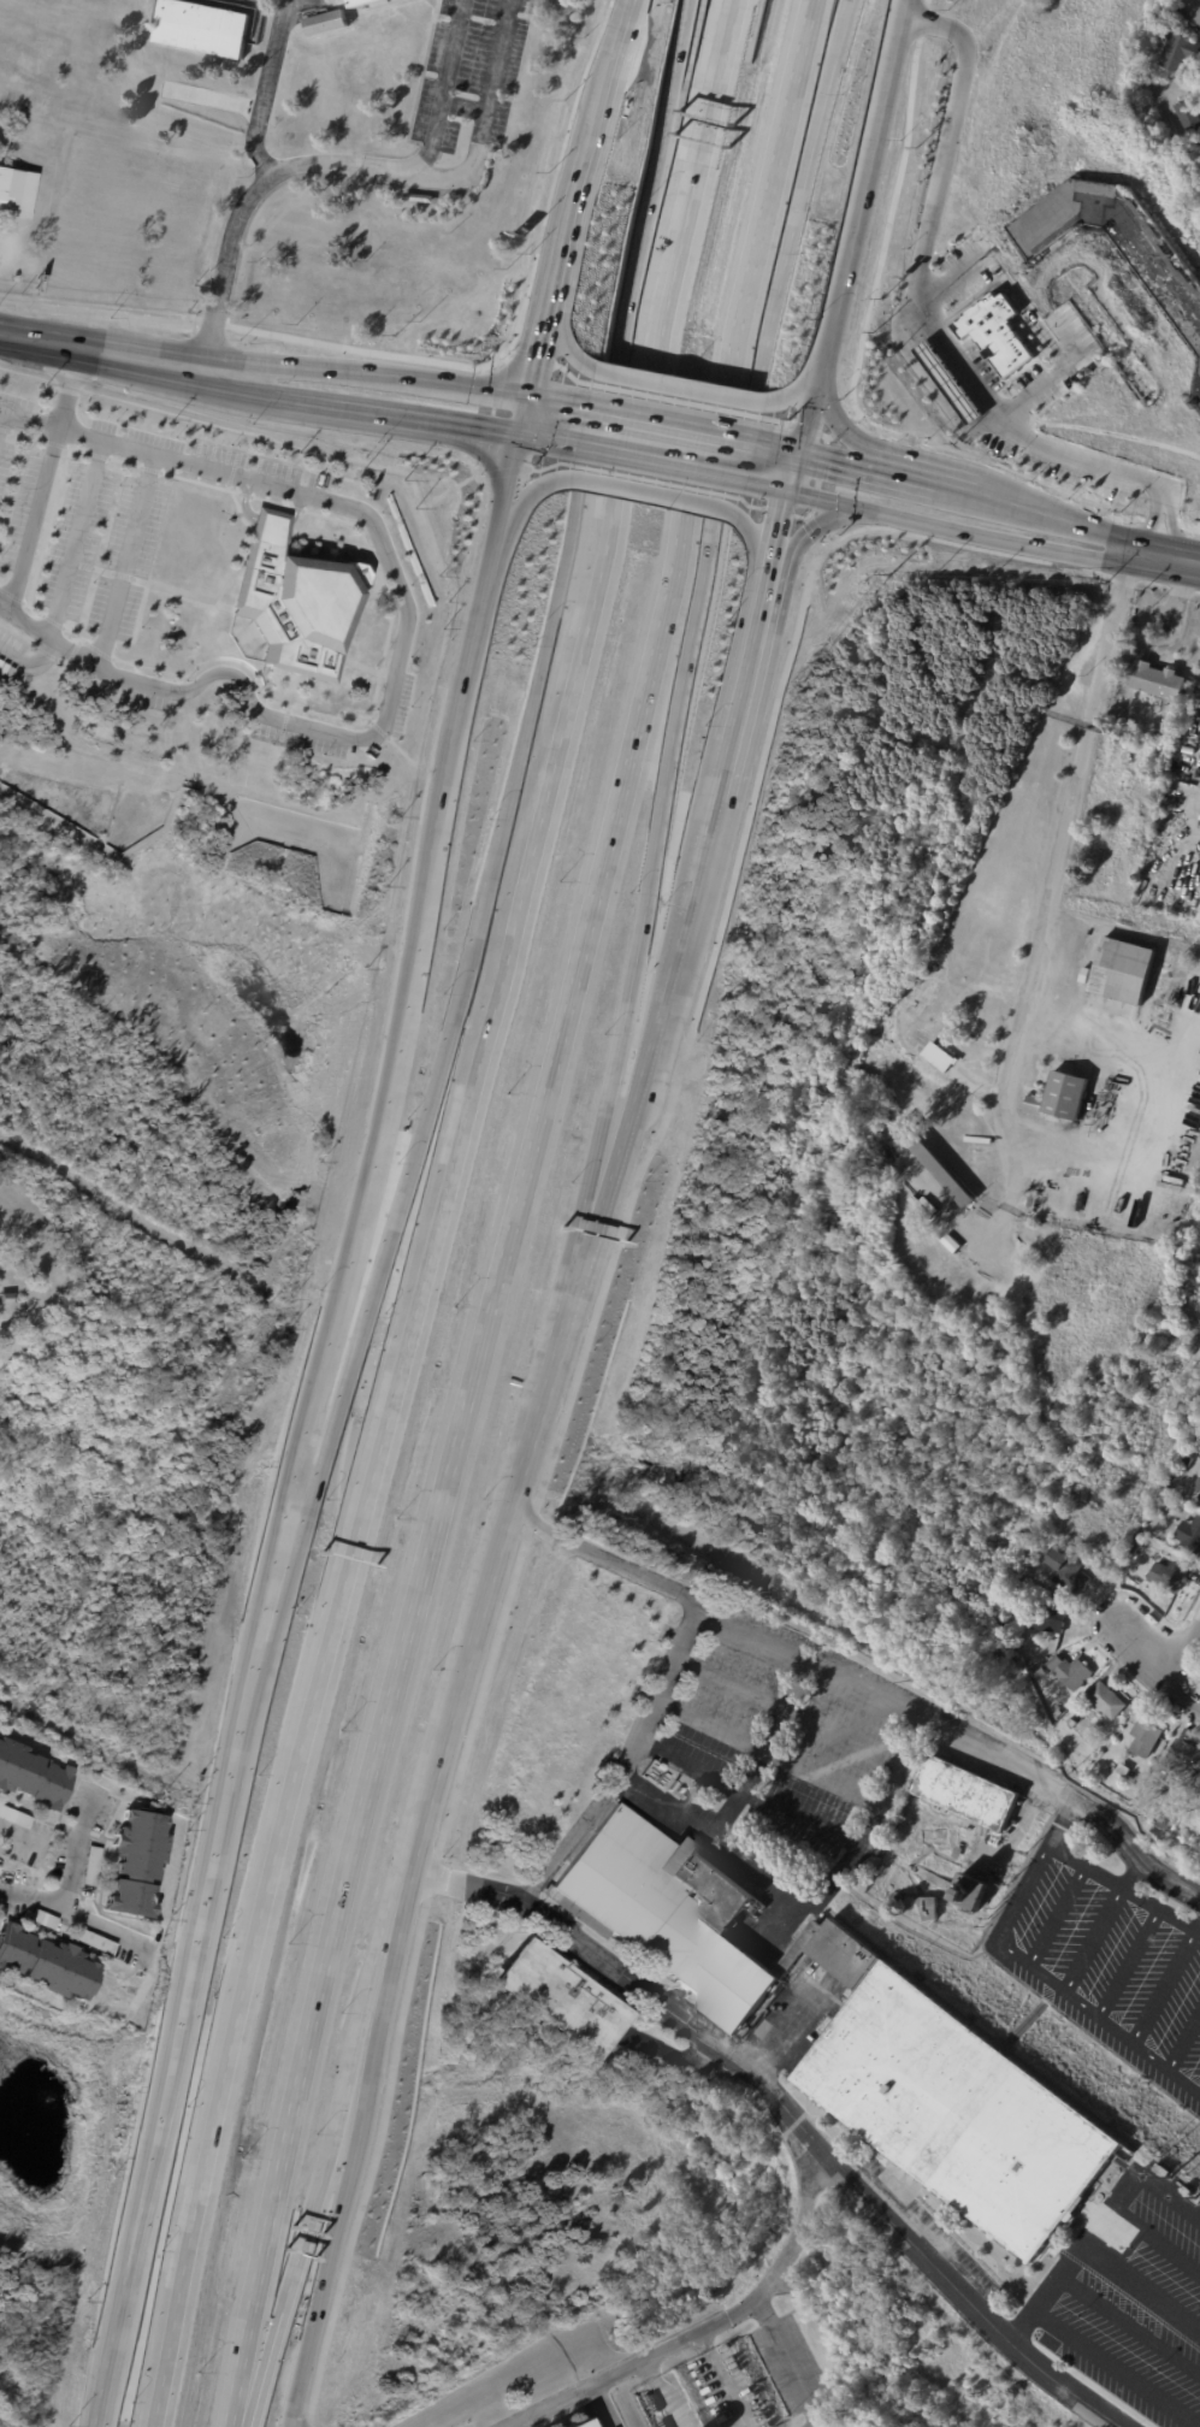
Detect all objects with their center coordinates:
building: (366, 2)
building: (1192, 7)
road: (631, 10)
road: (902, 10)
building: (323, 22)
building: (200, 28)
road: (720, 29)
road: (620, 46)
building: (1177, 52)
parking lot: (468, 75)
road: (441, 90)
building: (1188, 114)
road: (877, 122)
building: (1199, 163)
road: (456, 175)
road: (261, 187)
road: (583, 187)
building: (16, 193)
building: (415, 197)
building: (1116, 243)
road: (950, 276)
road: (841, 283)
road: (1013, 290)
road: (900, 318)
road: (546, 324)
building: (1000, 332)
road: (563, 341)
road: (101, 354)
road: (962, 365)
road: (536, 372)
road: (1052, 372)
road: (366, 376)
road: (805, 379)
building: (953, 383)
gas station: (953, 383)
road: (682, 386)
building: (1198, 389)
road: (69, 390)
road: (236, 392)
road: (817, 396)
traffic signals: (530, 397)
road: (558, 402)
road: (833, 411)
road: (1, 418)
road: (396, 418)
road: (525, 418)
road: (29, 421)
road: (673, 425)
road: (636, 431)
traffic signals: (520, 439)
road: (708, 442)
road: (550, 444)
road: (781, 447)
traffic signals: (805, 451)
road: (840, 459)
road: (203, 466)
road: (666, 467)
road: (800, 473)
road: (905, 473)
building: (5, 484)
road: (954, 485)
road: (531, 489)
road: (773, 490)
traffic signals: (796, 495)
road: (657, 496)
road: (1051, 513)
parking lot: (76, 519)
road: (34, 520)
road: (1147, 525)
road: (948, 527)
road: (1171, 528)
road: (786, 532)
road: (811, 532)
road: (77, 538)
road: (762, 543)
road: (1109, 555)
road: (1157, 556)
road: (128, 559)
building: (292, 600)
road: (469, 660)
road: (31, 661)
road: (685, 668)
building: (1153, 679)
road: (289, 720)
road: (513, 749)
road: (1062, 850)
road: (678, 959)
building: (1121, 970)
building: (873, 1053)
building: (938, 1056)
building: (1058, 1097)
building: (933, 1164)
road: (366, 1185)
road: (644, 1205)
building: (6, 1298)
building: (1195, 1449)
building: (1195, 1487)
building: (1199, 1496)
building: (1172, 1505)
building: (1189, 1535)
building: (1062, 1571)
building: (1166, 1576)
road: (484, 1605)
building: (1047, 1619)
road: (332, 1641)
road: (262, 1648)
road: (397, 1652)
road: (1182, 1653)
road: (1153, 1669)
building: (1036, 1671)
building: (1068, 1672)
road: (869, 1676)
building: (1105, 1701)
building: (1057, 1714)
building: (1069, 1723)
building: (1143, 1740)
building: (1184, 1755)
road: (623, 1756)
building: (1122, 1771)
building: (32, 1775)
building: (1161, 1779)
road: (749, 1790)
building: (964, 1793)
building: (1177, 1794)
road: (728, 1811)
building: (13, 1817)
road: (1066, 1823)
road: (39, 1838)
road: (78, 1849)
building: (957, 1853)
building: (134, 1862)
building: (88, 1864)
road: (1139, 1871)
road: (1127, 1885)
building: (968, 1890)
road: (808, 1896)
building: (928, 1908)
road: (76, 1911)
building: (39, 1918)
building: (686, 1918)
building: (91, 1941)
building: (43, 1965)
road: (1059, 1985)
building: (552, 1997)
road: (786, 2032)
road: (788, 2109)
building: (959, 2110)
road: (162, 2119)
road: (349, 2145)
building: (1163, 2171)
building: (1187, 2191)
road: (1171, 2196)
road: (311, 2210)
road: (1157, 2240)
road: (1076, 2257)
road: (1143, 2281)
road: (705, 2321)
road: (1131, 2323)
road: (796, 2360)
road: (1117, 2368)
road: (723, 2390)
road: (599, 2405)
building: (575, 2422)
road: (821, 2423)

